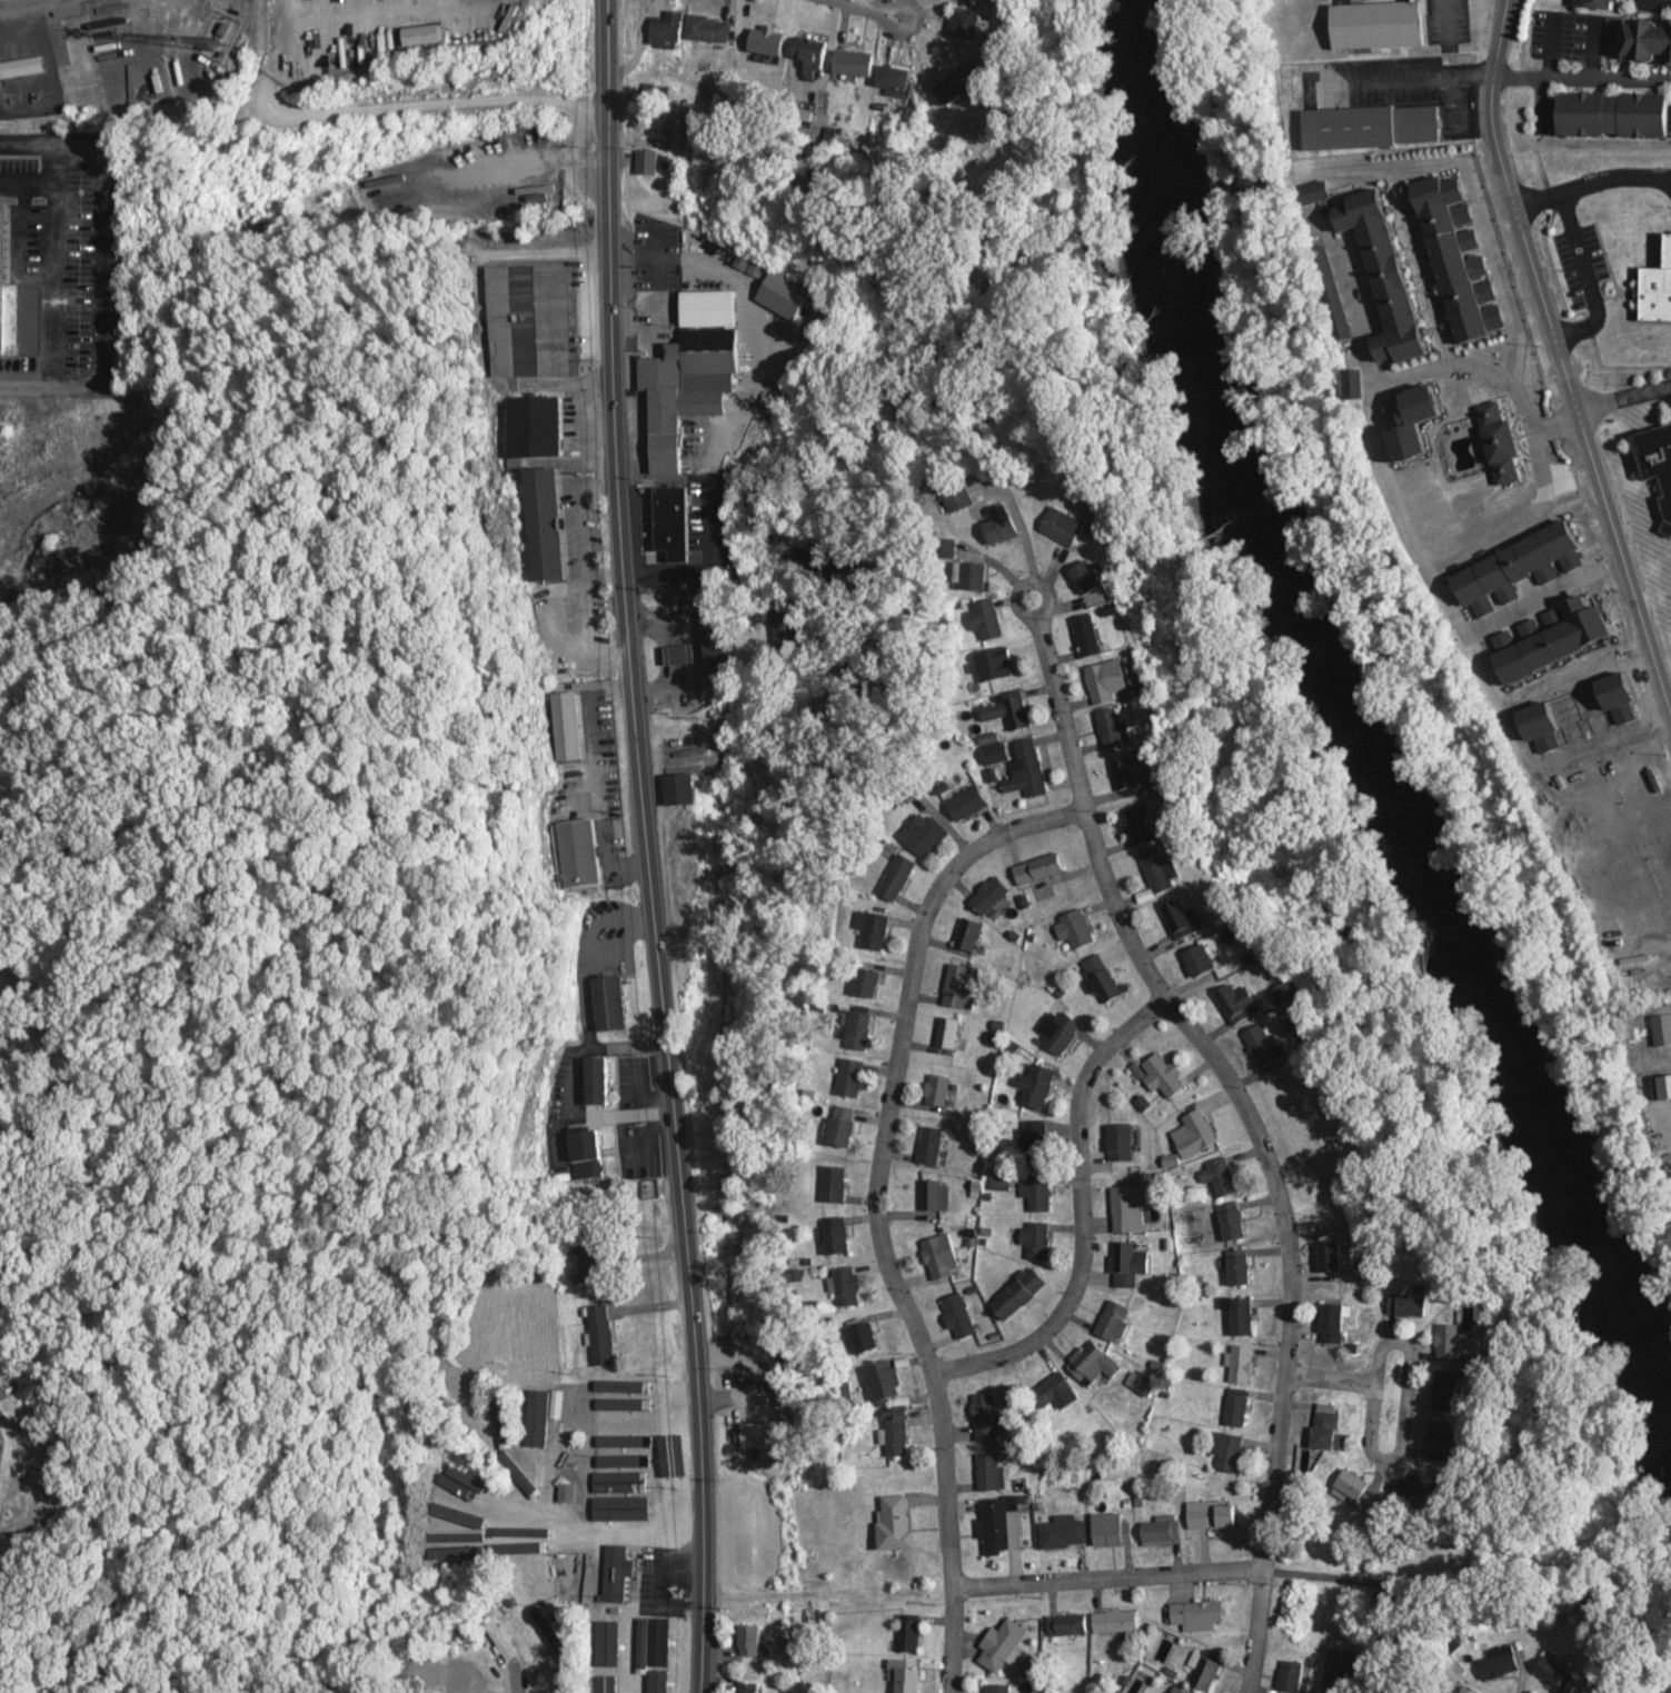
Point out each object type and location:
road: (871, 6)
building: (966, 23)
building: (1379, 23)
building: (660, 27)
building: (707, 29)
building: (420, 34)
road: (1496, 38)
building: (766, 40)
building: (1648, 41)
building: (809, 51)
building: (853, 63)
building: (21, 67)
building: (893, 77)
road: (1580, 77)
building: (959, 83)
building: (1613, 114)
building: (678, 122)
building: (1371, 127)
parking lot: (17, 161)
building: (647, 161)
road: (53, 181)
road: (1590, 181)
road: (106, 261)
parking lot: (1580, 263)
road: (1493, 265)
road: (1584, 275)
building: (1385, 276)
building: (1654, 286)
road: (1624, 292)
building: (783, 293)
building: (7, 303)
building: (528, 321)
building: (689, 370)
road: (1570, 397)
road: (1572, 418)
road: (1549, 425)
road: (1531, 432)
building: (1657, 460)
building: (956, 495)
road: (1391, 495)
building: (672, 521)
building: (540, 525)
building: (998, 525)
building: (1062, 526)
building: (972, 577)
building: (1086, 577)
road: (1044, 591)
building: (986, 618)
building: (1086, 636)
building: (679, 655)
building: (994, 665)
building: (1106, 680)
river: (1360, 708)
building: (1008, 710)
building: (568, 724)
building: (1112, 728)
building: (1027, 770)
building: (1124, 774)
building: (680, 787)
building: (967, 801)
building: (1140, 826)
building: (923, 834)
road: (643, 847)
building: (577, 852)
building: (1038, 868)
building: (1157, 870)
building: (896, 877)
building: (988, 894)
building: (1181, 918)
building: (1077, 927)
building: (873, 929)
building: (967, 933)
building: (1200, 959)
building: (865, 982)
building: (961, 985)
building: (1104, 985)
building: (609, 1002)
building: (1236, 1002)
building: (858, 1027)
building: (1662, 1028)
building: (1058, 1030)
building: (947, 1032)
building: (1261, 1043)
building: (1160, 1074)
building: (849, 1076)
building: (597, 1079)
building: (1036, 1085)
building: (937, 1089)
park: (1322, 1111)
building: (842, 1126)
road: (1253, 1129)
building: (1194, 1133)
building: (1035, 1142)
building: (1121, 1142)
building: (931, 1145)
building: (586, 1148)
building: (1221, 1176)
building: (833, 1184)
building: (1035, 1195)
road: (874, 1206)
building: (1130, 1208)
road: (1081, 1213)
building: (1232, 1221)
building: (835, 1235)
building: (1036, 1238)
building: (587, 1253)
building: (938, 1256)
building: (1330, 1256)
building: (1127, 1263)
building: (1239, 1267)
building: (847, 1285)
building: (1018, 1292)
building: (1408, 1304)
building: (958, 1315)
building: (1242, 1316)
building: (1112, 1319)
building: (1334, 1322)
building: (600, 1334)
building: (862, 1335)
building: (1453, 1344)
road: (1374, 1352)
building: (1092, 1361)
building: (1241, 1363)
road: (1326, 1376)
building: (881, 1380)
building: (1, 1387)
building: (621, 1390)
building: (1443, 1390)
building: (1054, 1392)
building: (1236, 1406)
building: (621, 1408)
building: (543, 1414)
building: (987, 1415)
building: (621, 1425)
building: (1326, 1425)
building: (497, 1430)
building: (896, 1431)
building: (760, 1434)
building: (1442, 1436)
building: (0, 1444)
building: (1227, 1450)
building: (991, 1471)
building: (626, 1478)
building: (473, 1482)
building: (1351, 1485)
building: (567, 1492)
building: (1212, 1514)
building: (434, 1521)
building: (895, 1521)
building: (996, 1526)
building: (1161, 1530)
building: (1112, 1531)
building: (460, 1532)
building: (520, 1532)
building: (1063, 1532)
building: (616, 1573)
road: (1105, 1576)
building: (510, 1612)
building: (1195, 1614)
building: (1115, 1621)
building: (548, 1624)
building: (1071, 1626)
building: (497, 1634)
building: (749, 1640)
building: (607, 1644)
building: (1001, 1644)
building: (657, 1659)
building: (1499, 1662)
building: (1207, 1670)
building: (1555, 1671)
building: (1291, 1675)
building: (456, 1676)
building: (906, 1676)
building: (564, 1681)
building: (606, 1682)
building: (747, 1687)
building: (997, 1689)
building: (1176, 1690)
building: (1466, 1690)

